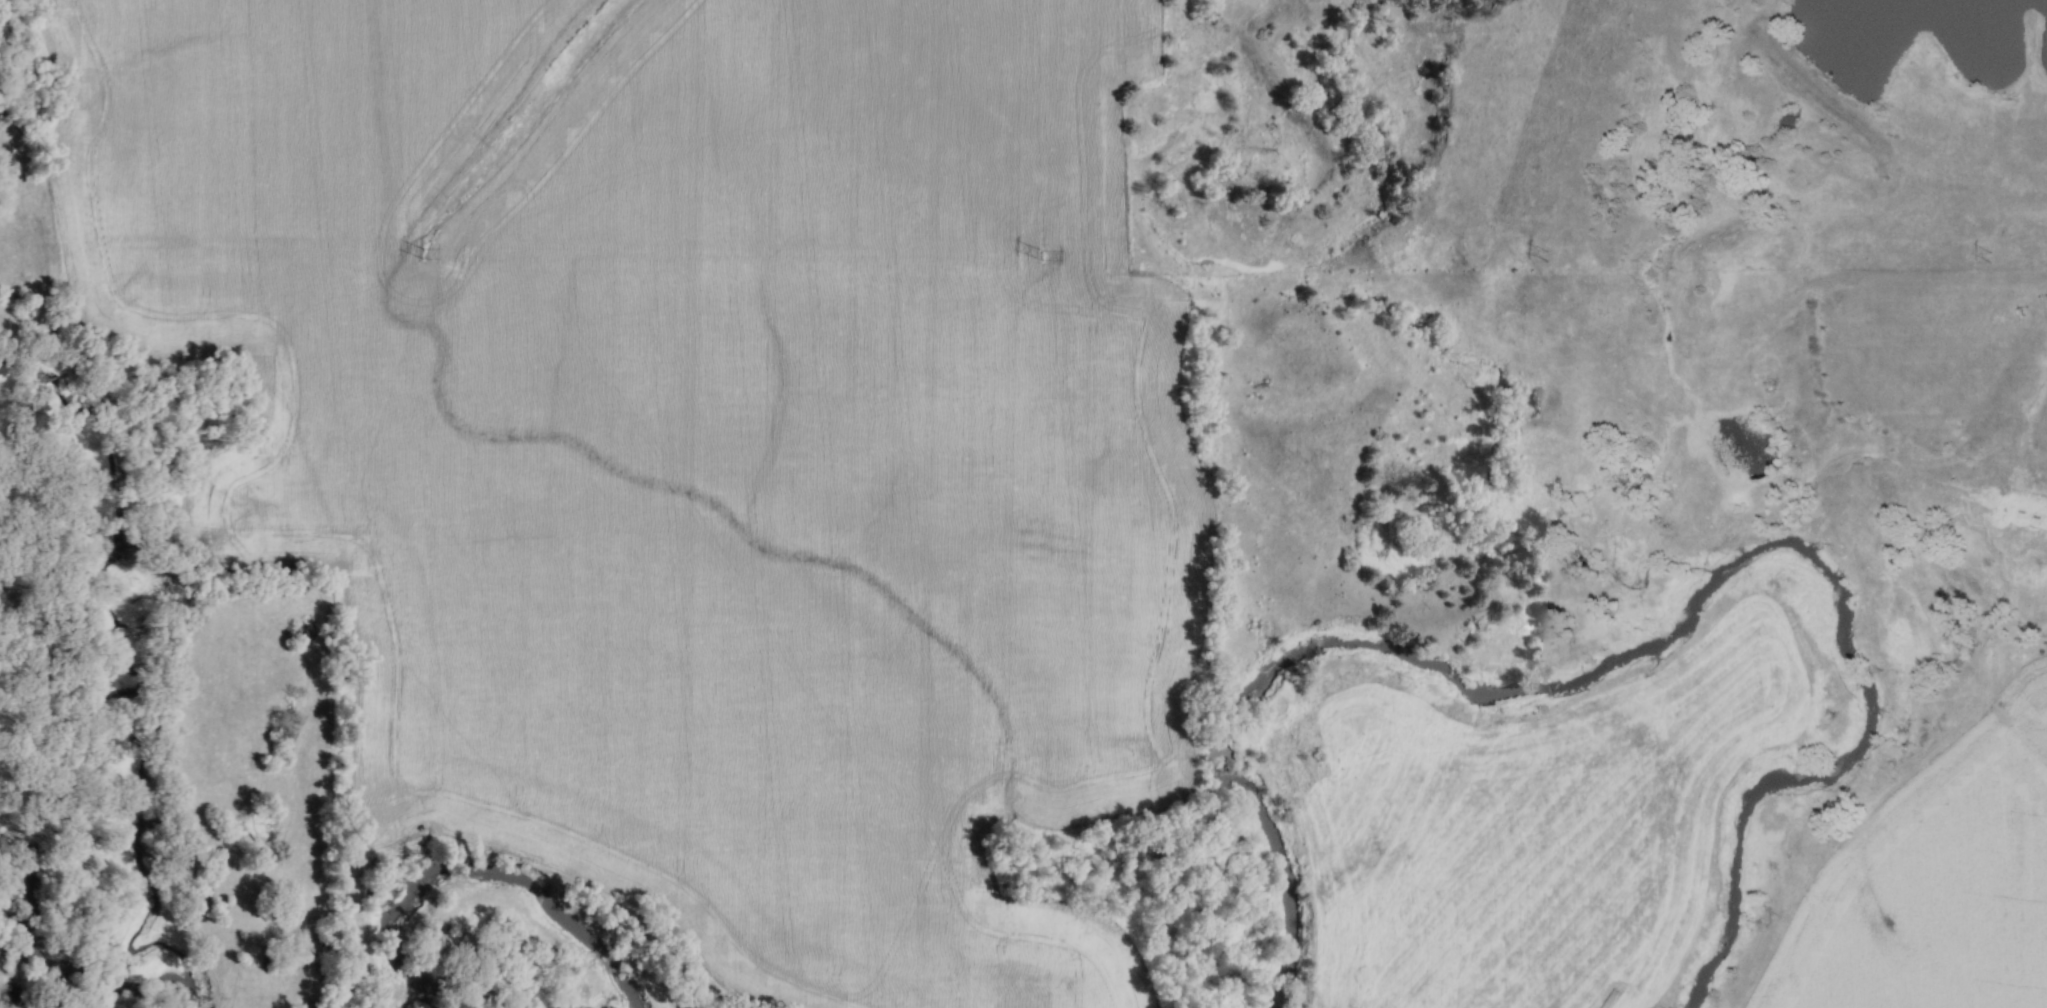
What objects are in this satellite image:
power tower: (423, 255)
power tower: (1041, 256)
power tower: (1549, 258)
power tower: (1990, 259)

